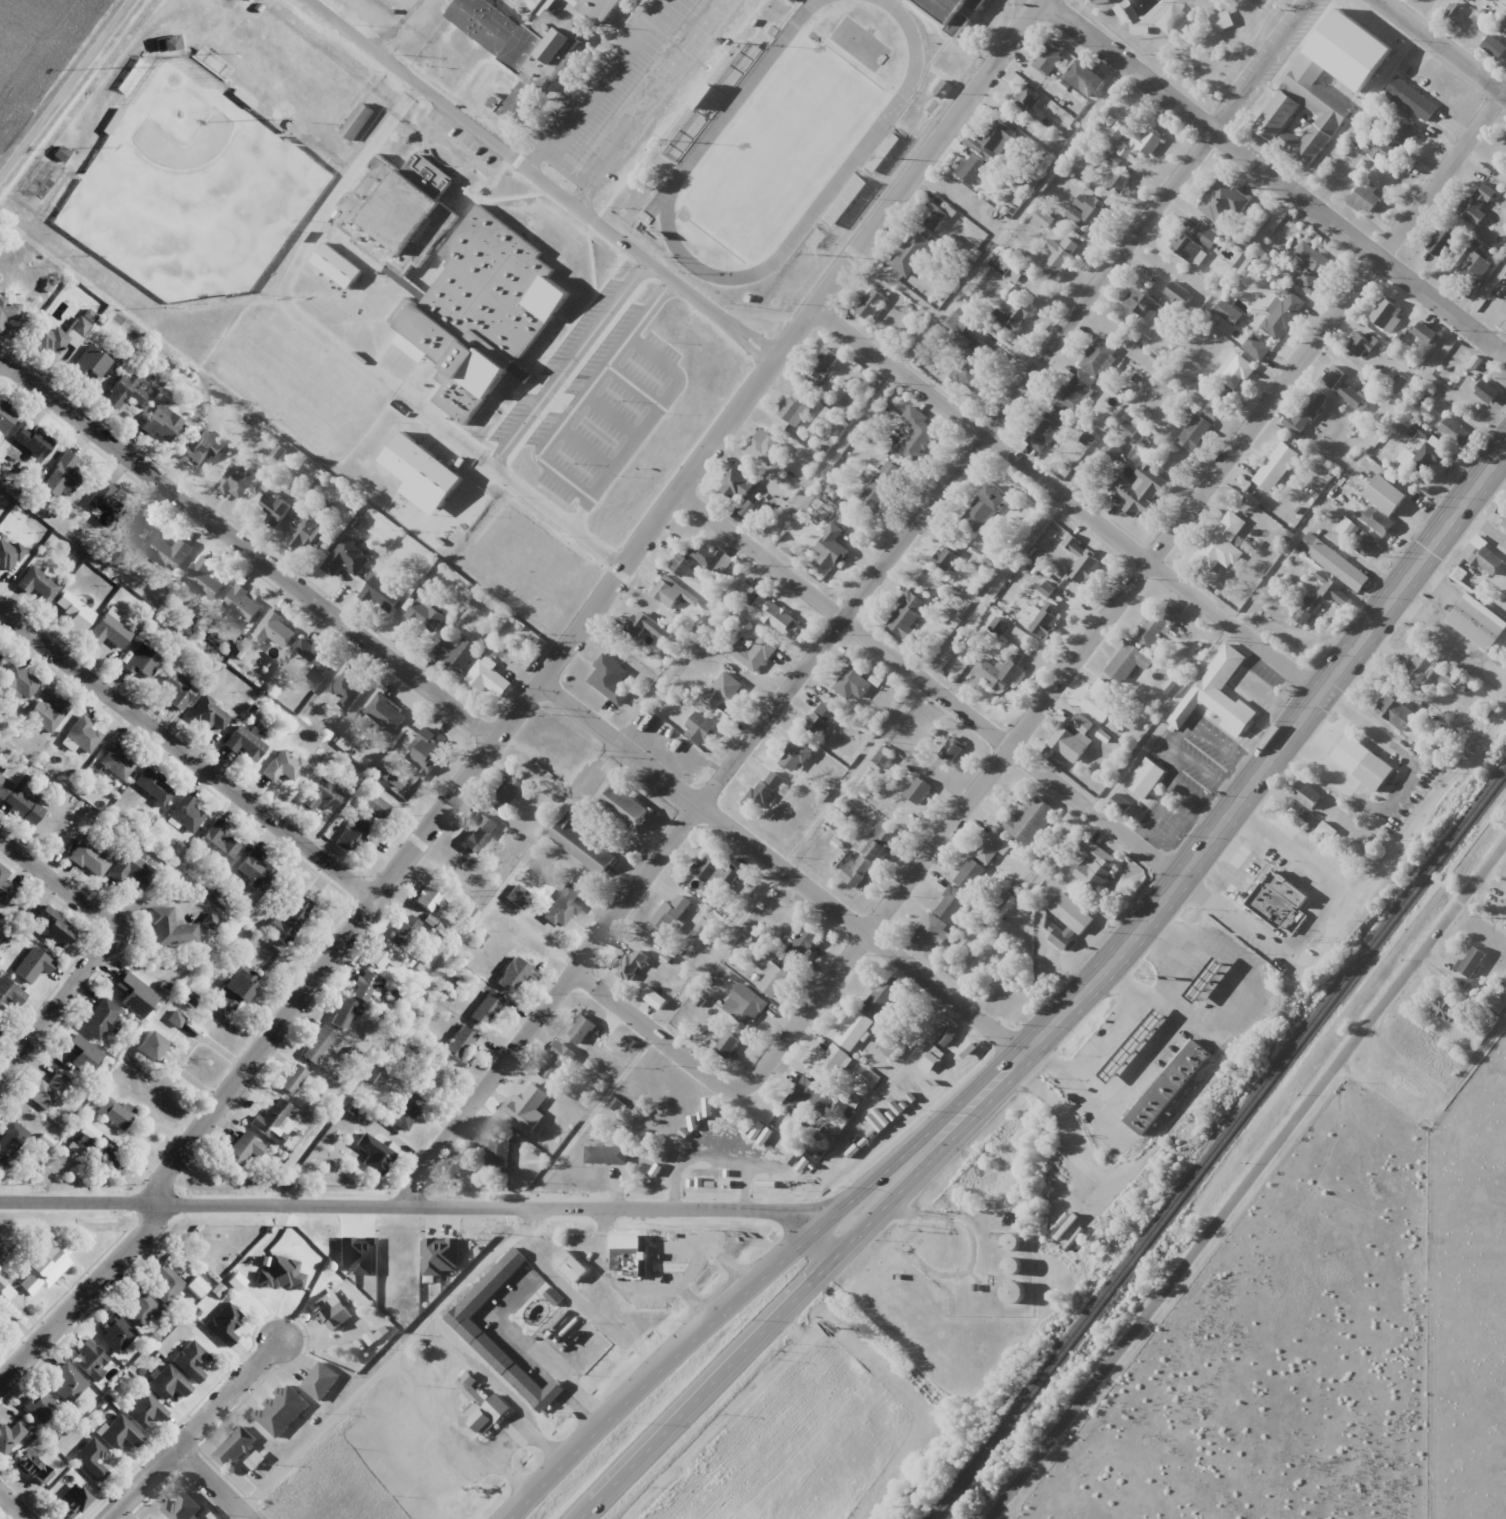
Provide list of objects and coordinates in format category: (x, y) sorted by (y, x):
building: (794, 1)
building: (954, 13)
building: (1221, 21)
building: (1504, 26)
building: (522, 36)
building: (166, 44)
road: (1443, 47)
building: (1495, 47)
crop: (39, 49)
building: (1353, 52)
building: (1050, 53)
building: (211, 63)
building: (134, 74)
building: (1085, 79)
road: (64, 84)
building: (490, 86)
building: (1026, 99)
building: (1414, 100)
building: (517, 102)
building: (111, 121)
building: (1273, 121)
building: (360, 124)
building: (1401, 131)
track: (791, 138)
building: (992, 139)
building: (1143, 141)
park: (781, 146)
building: (881, 153)
building: (60, 154)
road: (1275, 176)
road: (541, 181)
building: (1118, 183)
park: (191, 190)
building: (1365, 198)
building: (1222, 200)
building: (1476, 205)
building: (1086, 210)
building: (399, 212)
building: (933, 217)
building: (1044, 220)
building: (1206, 236)
building: (816, 239)
building: (1440, 241)
building: (1189, 249)
building: (910, 254)
building: (1060, 255)
building: (1472, 264)
building: (1312, 269)
building: (1178, 294)
building: (1142, 303)
building: (870, 304)
building: (8, 311)
building: (1014, 311)
building: (1282, 314)
building: (1386, 315)
building: (82, 321)
building: (1427, 334)
building: (50, 340)
building: (961, 343)
building: (1361, 346)
building: (1256, 348)
building: (1098, 358)
building: (90, 362)
building: (821, 366)
building: (1237, 373)
building: (1332, 376)
building: (1397, 383)
building: (1076, 390)
building: (123, 391)
building: (1487, 392)
building: (1352, 396)
building: (1216, 402)
building: (794, 408)
building: (1305, 411)
building: (6, 416)
building: (161, 424)
building: (1046, 428)
building: (1194, 432)
building: (915, 435)
road: (1103, 436)
building: (33, 442)
building: (765, 447)
building: (201, 448)
building: (1112, 450)
building: (1422, 458)
road: (1502, 459)
building: (1276, 466)
road: (1345, 473)
building: (61, 476)
building: (236, 479)
building: (736, 484)
building: (882, 484)
building: (1139, 488)
building: (1388, 498)
road: (1064, 500)
building: (103, 502)
building: (984, 507)
building: (272, 510)
building: (1379, 521)
building: (1503, 521)
building: (134, 528)
building: (308, 534)
building: (1359, 539)
building: (1221, 543)
road: (249, 548)
building: (830, 548)
building: (8, 553)
building: (170, 553)
building: (706, 555)
building: (945, 557)
building: (345, 558)
building: (1487, 560)
building: (680, 565)
building: (1083, 565)
building: (1340, 567)
building: (203, 578)
building: (36, 584)
building: (666, 592)
building: (748, 593)
building: (380, 595)
road: (1122, 597)
building: (1320, 598)
road: (860, 601)
road: (597, 603)
building: (238, 608)
building: (74, 611)
building: (905, 614)
building: (421, 617)
building: (780, 620)
building: (1045, 621)
building: (1479, 623)
building: (1156, 625)
building: (646, 627)
building: (274, 630)
building: (107, 632)
building: (753, 652)
building: (456, 653)
building: (0, 655)
building: (313, 659)
building: (142, 662)
building: (1124, 662)
building: (1424, 669)
building: (997, 670)
building: (488, 678)
building: (609, 679)
building: (853, 682)
building: (17, 683)
road: (928, 686)
building: (347, 688)
building: (176, 690)
building: (719, 692)
building: (1217, 694)
building: (1101, 700)
building: (1395, 711)
building: (385, 713)
building: (48, 714)
building: (208, 715)
building: (821, 719)
building: (698, 728)
building: (83, 735)
building: (1072, 737)
building: (245, 745)
building: (949, 748)
road: (191, 750)
building: (424, 752)
building: (795, 756)
building: (883, 757)
road: (1270, 757)
building: (117, 761)
building: (1366, 764)
building: (283, 766)
building: (1148, 781)
building: (4, 786)
building: (153, 787)
building: (916, 789)
building: (764, 790)
building: (509, 794)
building: (320, 795)
building: (1308, 796)
building: (1121, 803)
building: (24, 804)
building: (374, 806)
building: (625, 807)
building: (187, 814)
building: (1028, 819)
building: (352, 835)
building: (478, 835)
building: (218, 842)
building: (879, 842)
building: (581, 844)
building: (992, 847)
building: (89, 859)
building: (1094, 865)
building: (131, 869)
building: (255, 869)
building: (856, 870)
road: (778, 871)
building: (718, 873)
building: (969, 874)
road: (58, 882)
building: (4, 887)
road: (1358, 896)
building: (428, 899)
road: (155, 903)
building: (950, 904)
building: (563, 906)
building: (1278, 908)
building: (1073, 915)
building: (289, 917)
building: (669, 917)
building: (1505, 925)
building: (53, 927)
building: (170, 928)
building: (404, 930)
road: (1206, 931)
building: (928, 933)
building: (803, 943)
building: (380, 954)
building: (1472, 961)
building: (32, 964)
building: (627, 967)
building: (513, 974)
building: (774, 981)
building: (1210, 982)
building: (364, 986)
building: (237, 988)
road: (1125, 989)
building: (10, 993)
building: (136, 995)
building: (880, 997)
road: (58, 1001)
building: (745, 1005)
building: (1444, 1008)
building: (486, 1009)
building: (343, 1014)
road: (1133, 1018)
building: (100, 1020)
building: (581, 1029)
building: (853, 1030)
road: (655, 1037)
building: (459, 1042)
building: (319, 1043)
building: (941, 1043)
building: (726, 1045)
building: (151, 1046)
building: (1136, 1048)
building: (84, 1055)
building: (831, 1062)
building: (557, 1063)
building: (433, 1075)
building: (291, 1078)
building: (1172, 1088)
building: (48, 1091)
building: (808, 1099)
building: (528, 1107)
building: (115, 1112)
building: (405, 1112)
building: (272, 1118)
building: (10, 1140)
railway: (1220, 1144)
building: (95, 1149)
building: (242, 1150)
building: (371, 1154)
building: (499, 1154)
building: (606, 1155)
road: (1247, 1181)
road: (426, 1205)
building: (1013, 1242)
building: (630, 1259)
road: (693, 1265)
building: (1014, 1265)
building: (45, 1266)
building: (575, 1268)
road: (611, 1277)
road: (762, 1279)
building: (1, 1282)
building: (165, 1284)
road: (804, 1288)
building: (1014, 1292)
road: (89, 1294)
building: (141, 1308)
building: (330, 1311)
building: (223, 1324)
building: (115, 1334)
building: (488, 1348)
building: (89, 1361)
building: (190, 1361)
road: (558, 1374)
building: (321, 1381)
building: (65, 1383)
building: (166, 1383)
building: (39, 1406)
building: (482, 1408)
building: (282, 1410)
building: (145, 1411)
road: (199, 1430)
building: (119, 1433)
building: (9, 1437)
building: (236, 1448)
building: (91, 1459)
building: (33, 1468)
road: (210, 1486)
building: (72, 1501)
road: (12, 1506)
building: (183, 1508)

